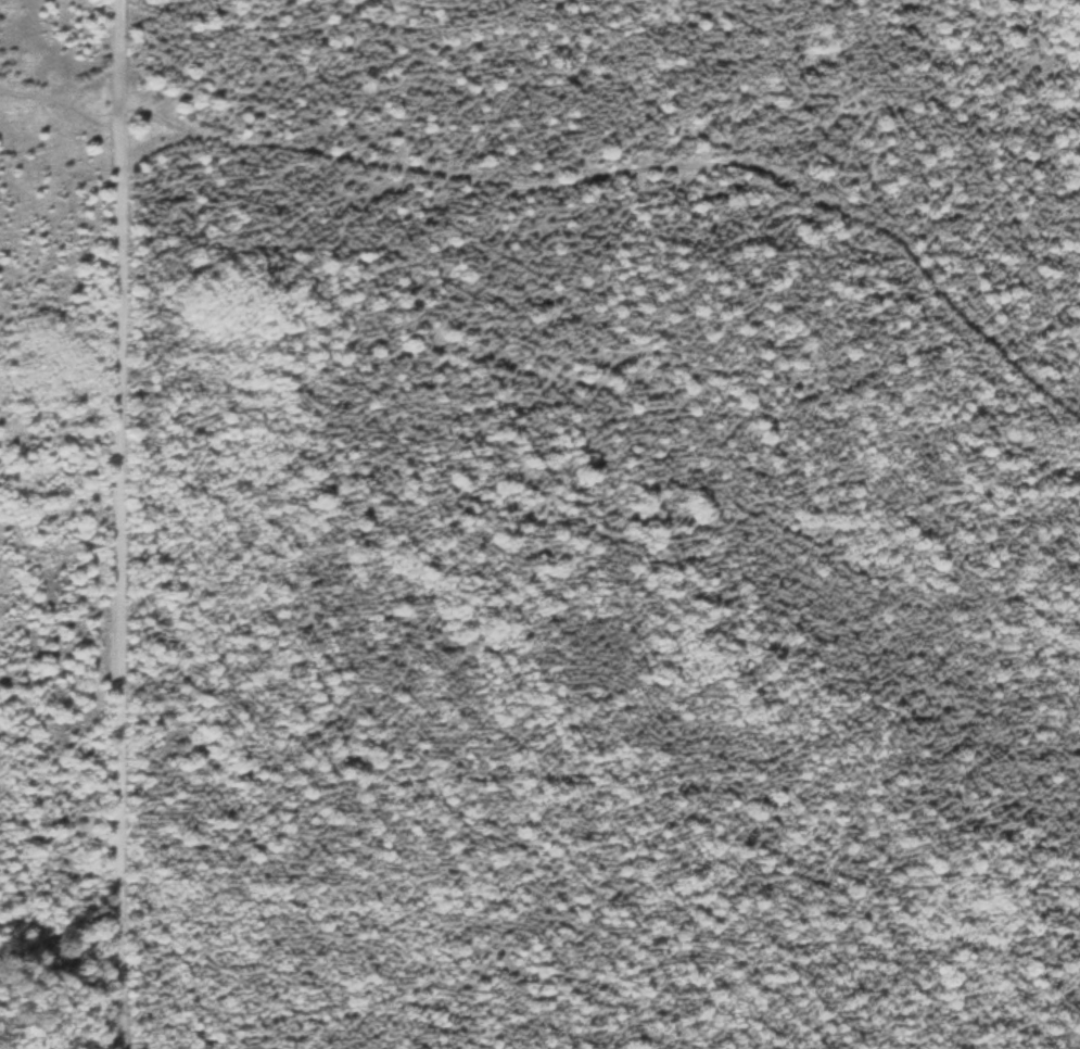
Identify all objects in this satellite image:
road: (63, 102)
road: (633, 172)
road: (125, 523)

